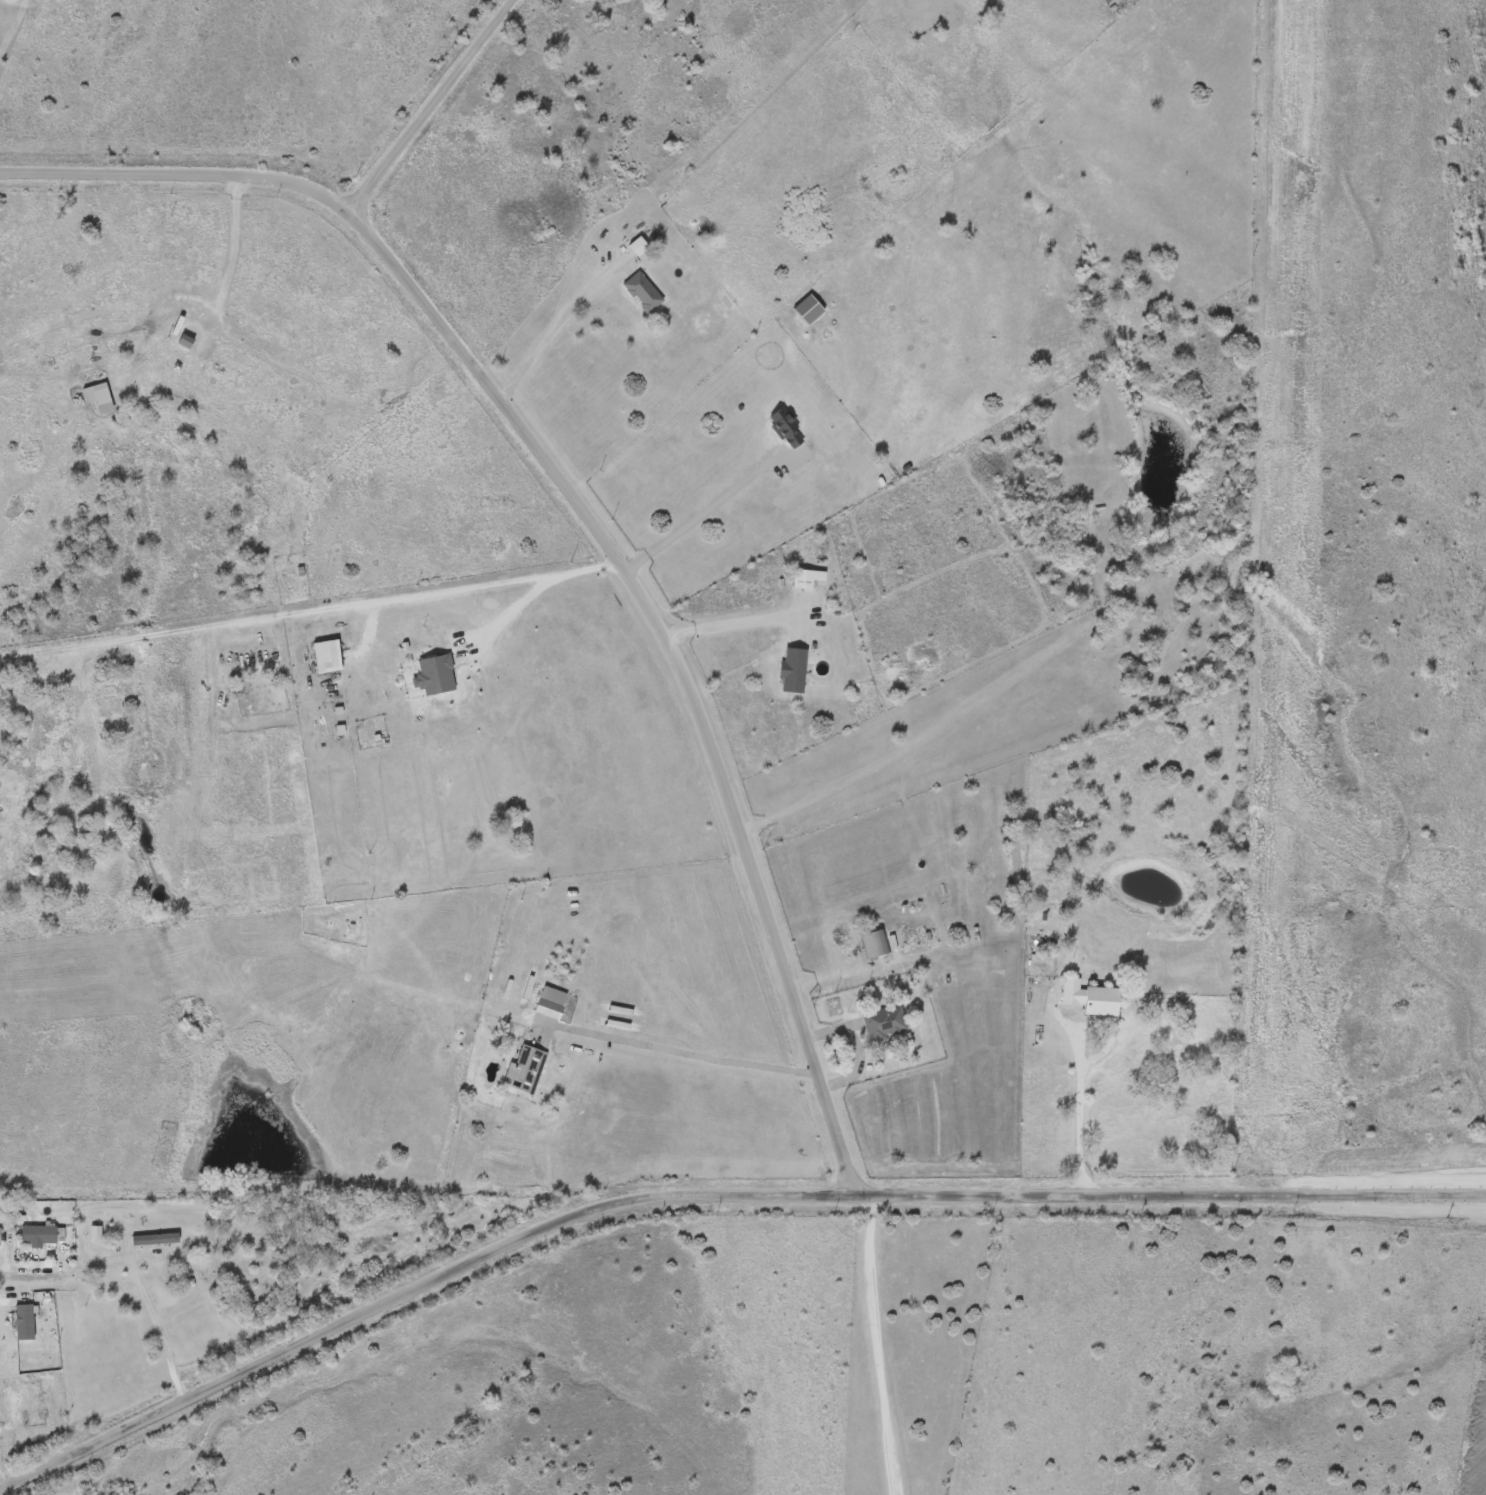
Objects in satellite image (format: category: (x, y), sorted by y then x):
road: (428, 106)
road: (237, 187)
building: (639, 245)
road: (233, 247)
building: (643, 291)
road: (558, 321)
building: (186, 340)
building: (105, 404)
building: (786, 427)
road: (703, 511)
road: (581, 512)
building: (806, 577)
road: (316, 610)
road: (506, 611)
road: (738, 620)
road: (678, 632)
building: (793, 669)
building: (874, 942)
building: (1091, 996)
building: (551, 1001)
building: (885, 1022)
road: (857, 1046)
road: (687, 1052)
building: (526, 1069)
road: (1077, 1107)
road: (710, 1194)
building: (40, 1234)
building: (0, 1235)
road: (30, 1272)
road: (141, 1293)
building: (24, 1321)
road: (875, 1345)
building: (25, 1411)

